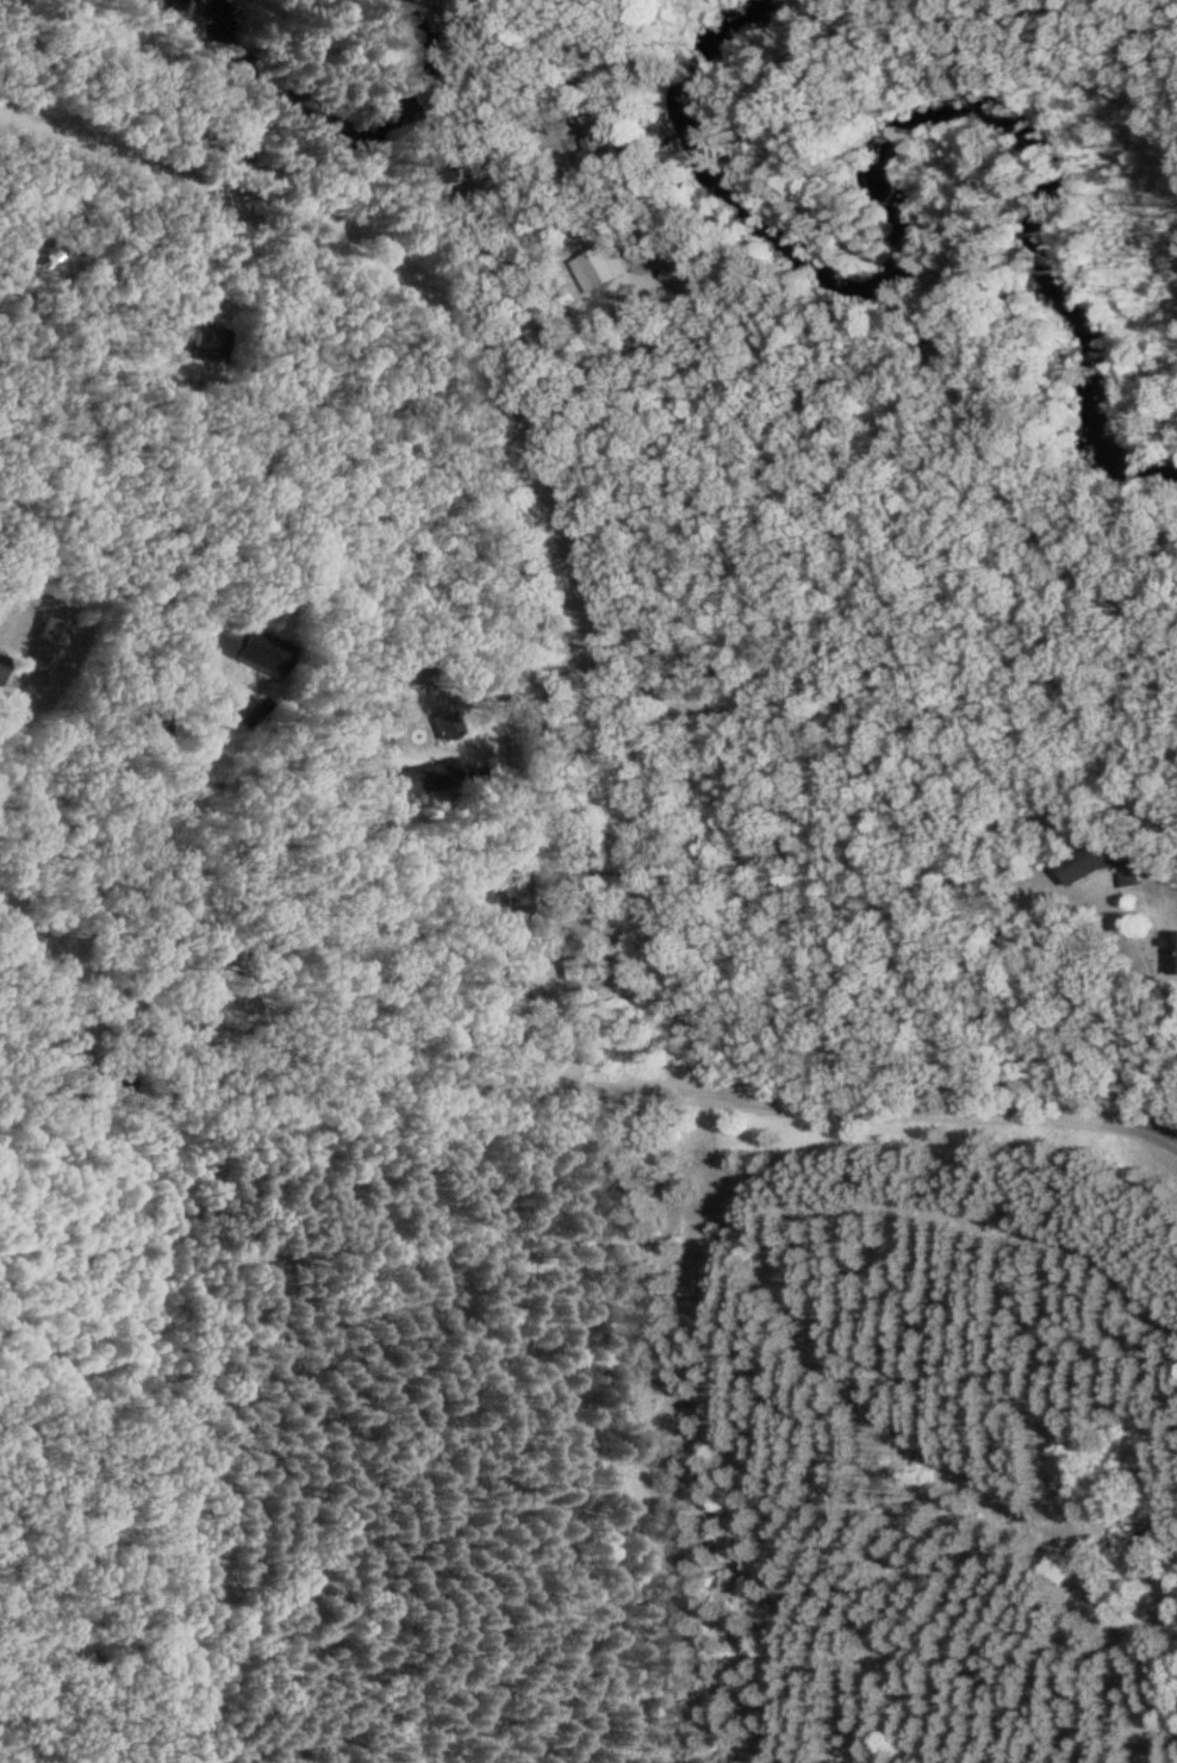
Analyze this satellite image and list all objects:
river: (325, 92)
river: (921, 177)
road: (537, 451)
building: (222, 635)
building: (49, 643)
building: (263, 650)
building: (2, 665)
building: (456, 768)
building: (1089, 860)
building: (572, 967)
road: (331, 1076)
road: (946, 1109)

